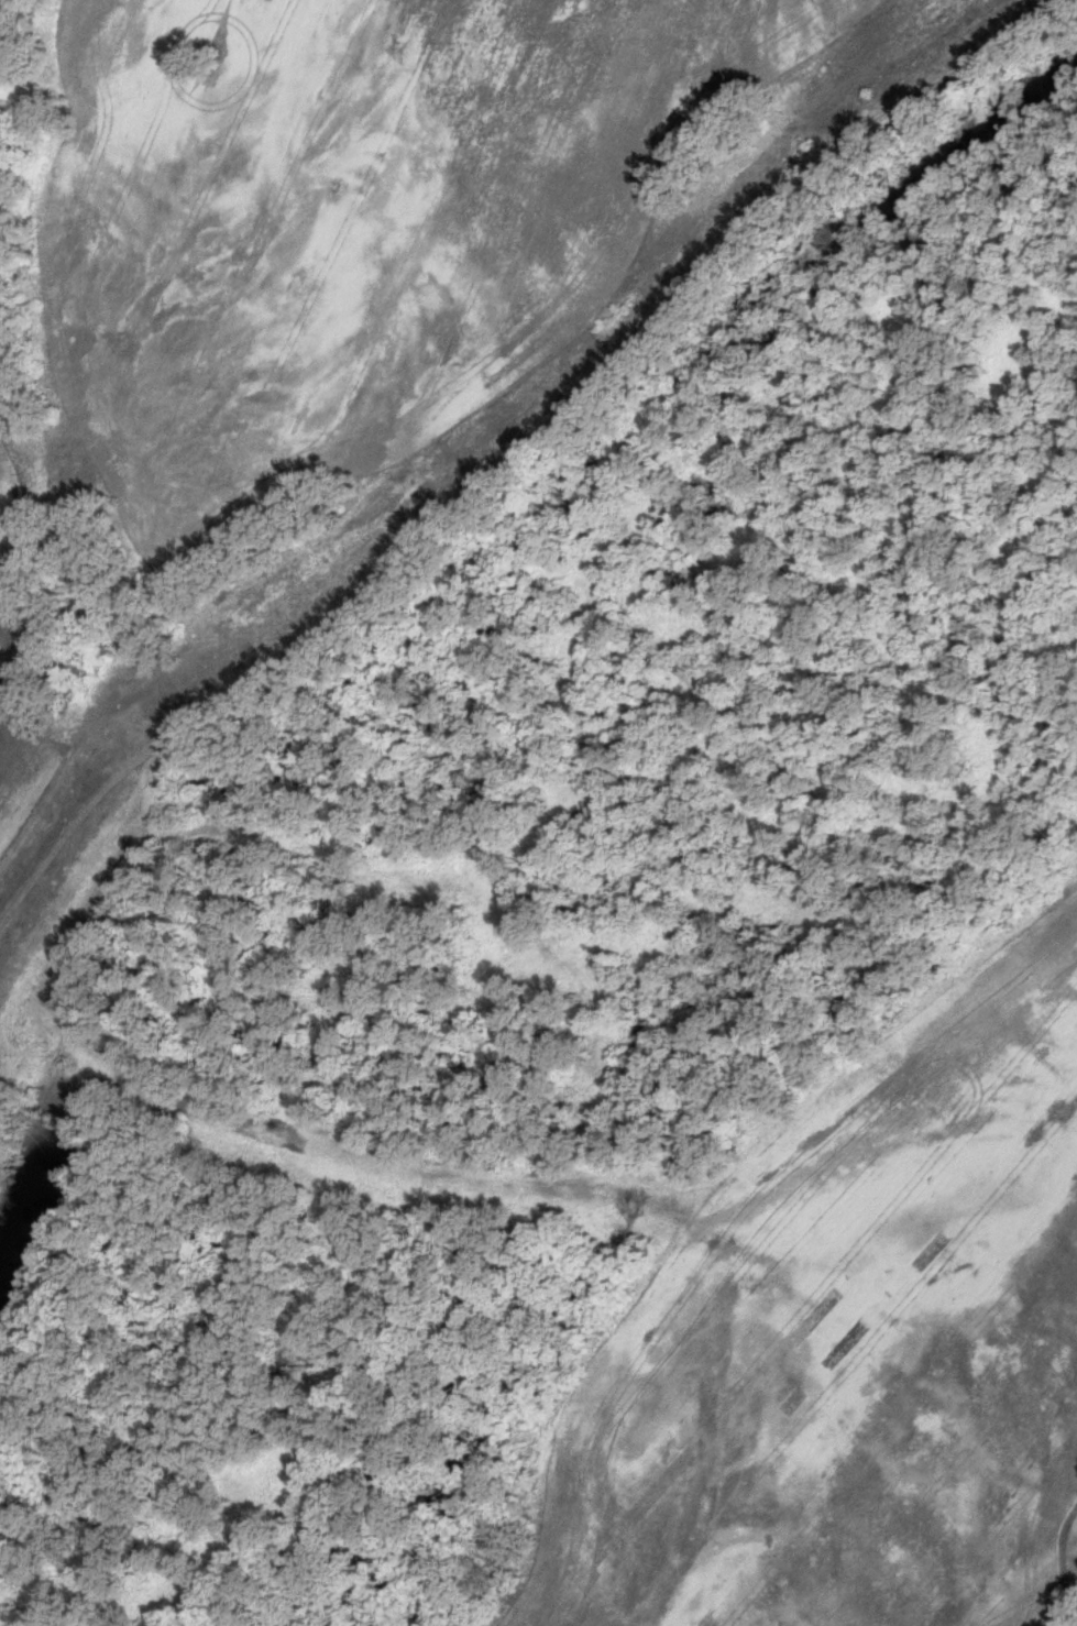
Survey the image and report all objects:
crop: (391, 210)
road: (619, 370)
crop: (2, 530)
crop: (20, 745)
road: (79, 825)
road: (222, 1112)
crop: (851, 1360)

